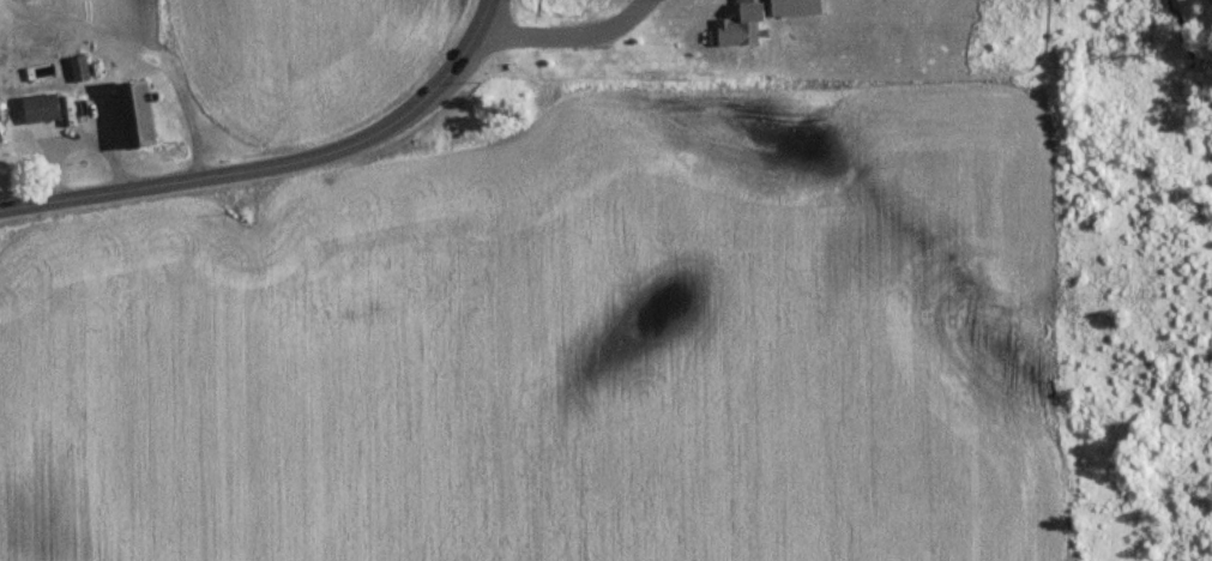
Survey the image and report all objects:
road: (567, 34)
building: (83, 67)
building: (47, 108)
building: (145, 114)
road: (185, 115)
building: (4, 123)
road: (282, 167)
park: (1133, 279)
crop: (257, 373)

